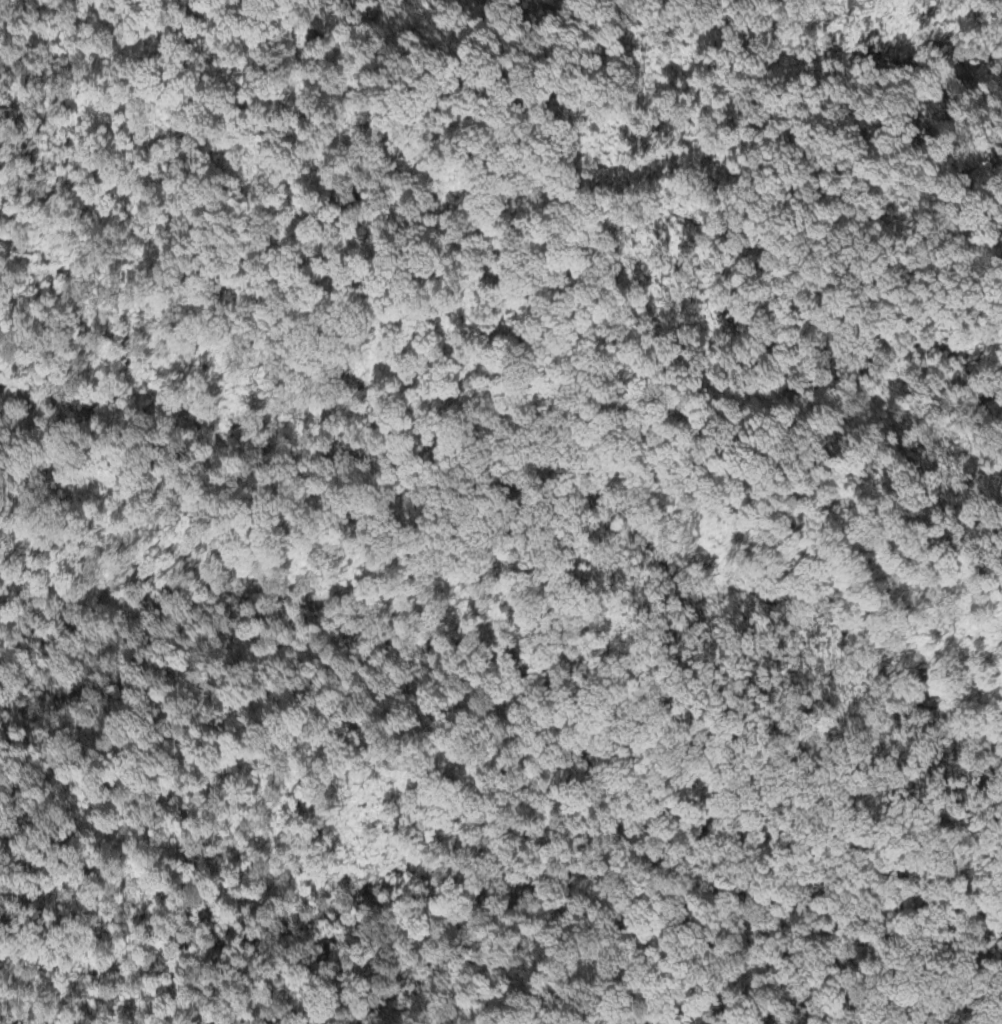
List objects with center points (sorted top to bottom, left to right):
road: (583, 139)
road: (826, 420)
park: (501, 512)
road: (717, 690)

